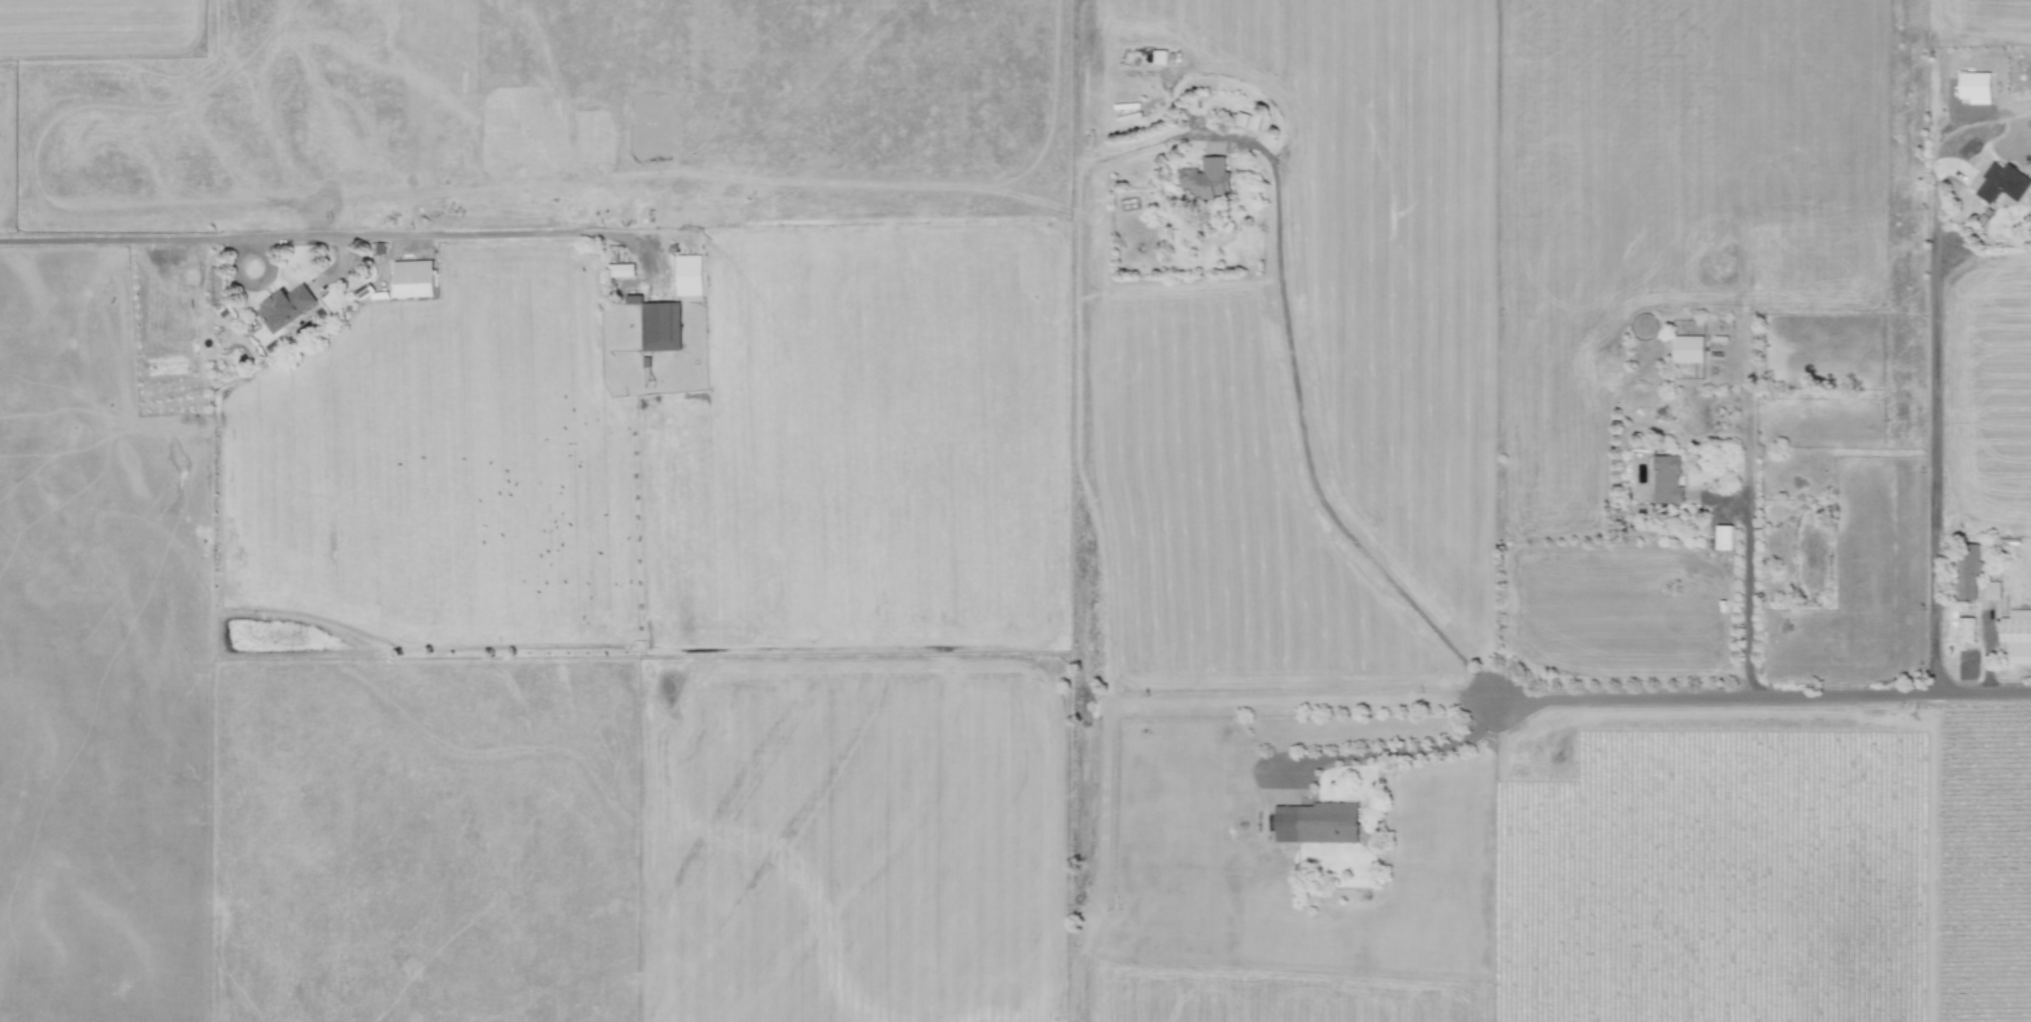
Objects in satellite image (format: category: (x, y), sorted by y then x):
building: (1160, 57)
building: (1975, 87)
building: (1247, 121)
building: (1207, 178)
building: (2002, 183)
road: (314, 236)
building: (378, 248)
building: (623, 270)
building: (689, 275)
building: (286, 307)
building: (659, 324)
building: (275, 345)
building: (1688, 349)
road: (1305, 443)
road: (1933, 469)
building: (1667, 479)
building: (1724, 537)
building: (1970, 573)
building: (1992, 590)
road: (1746, 595)
building: (1966, 629)
building: (2017, 635)
road: (1988, 654)
road: (1763, 695)
road: (1395, 752)
building: (1317, 822)

